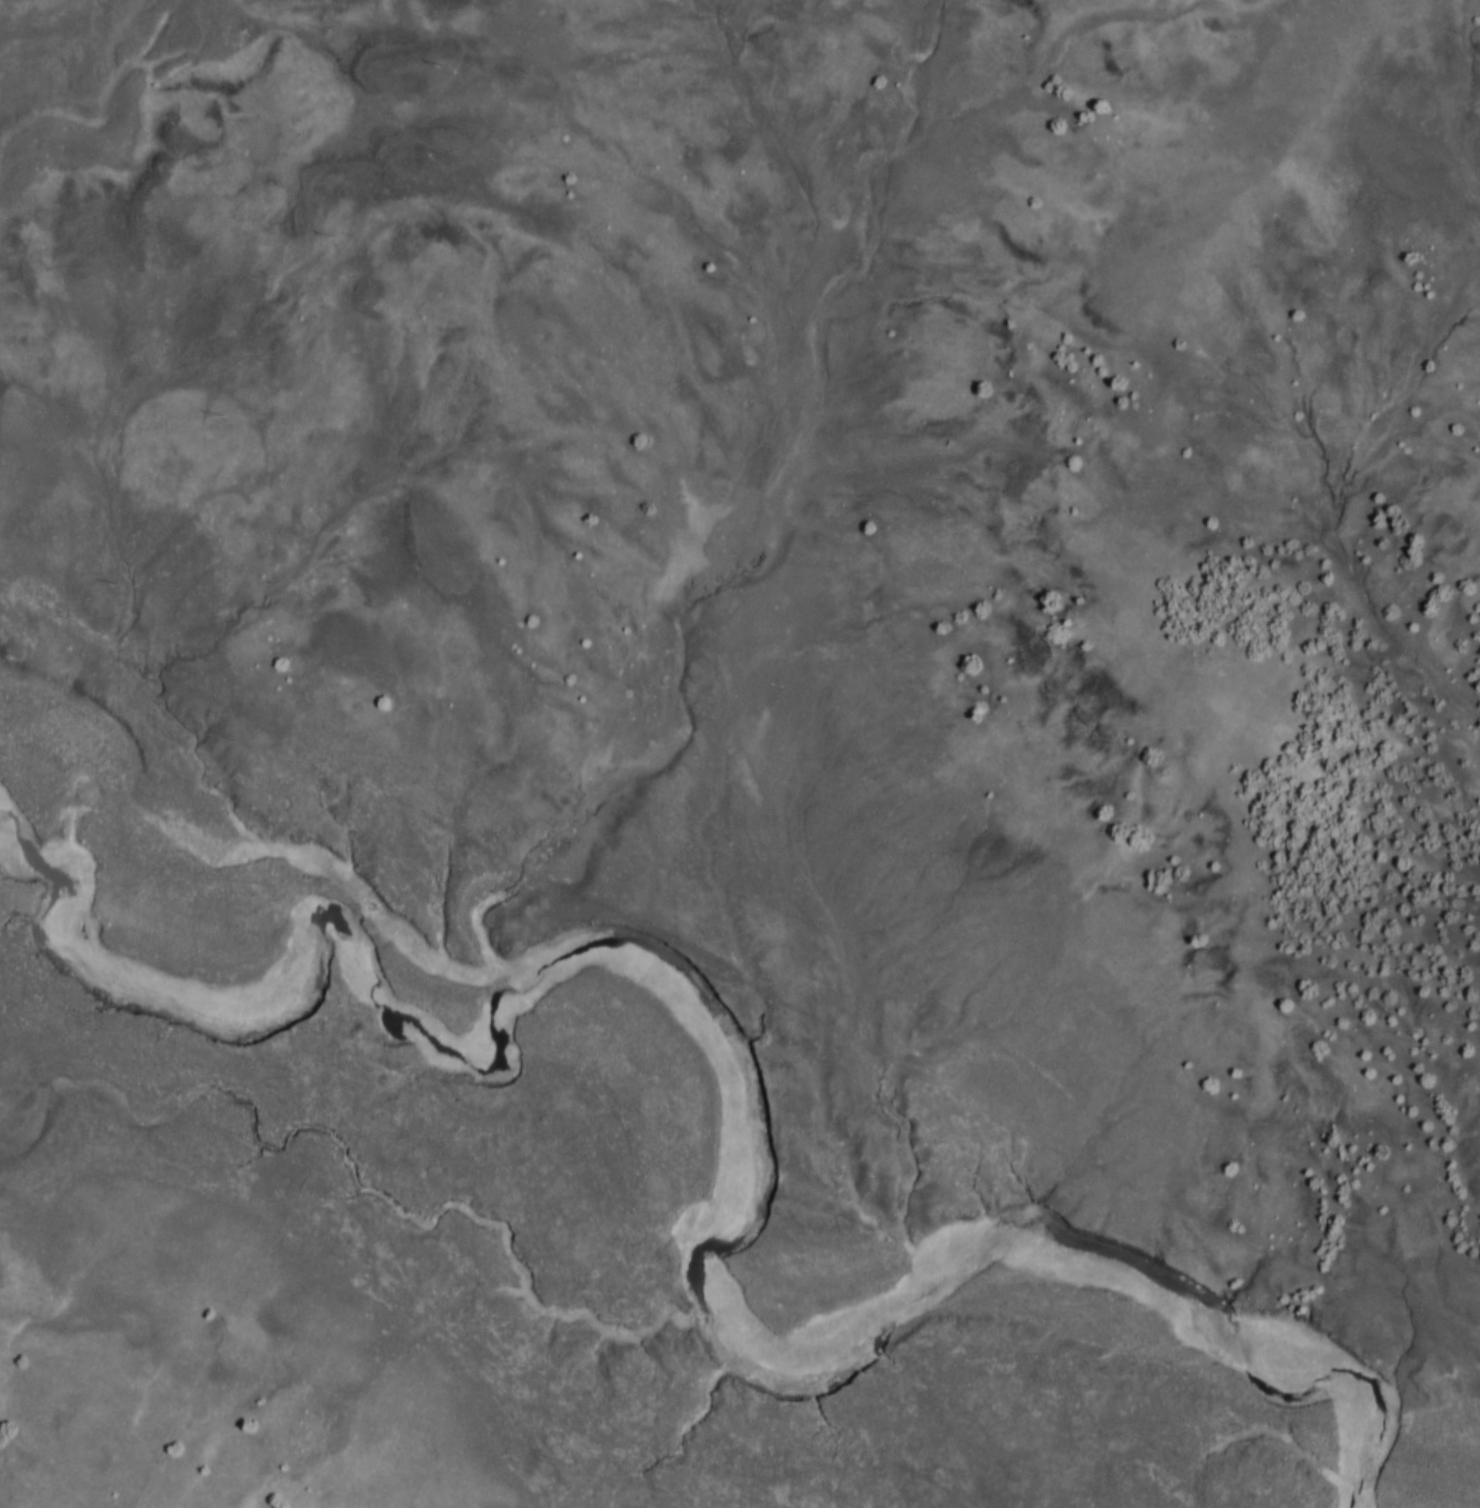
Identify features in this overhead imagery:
river: (1359, 1482)

